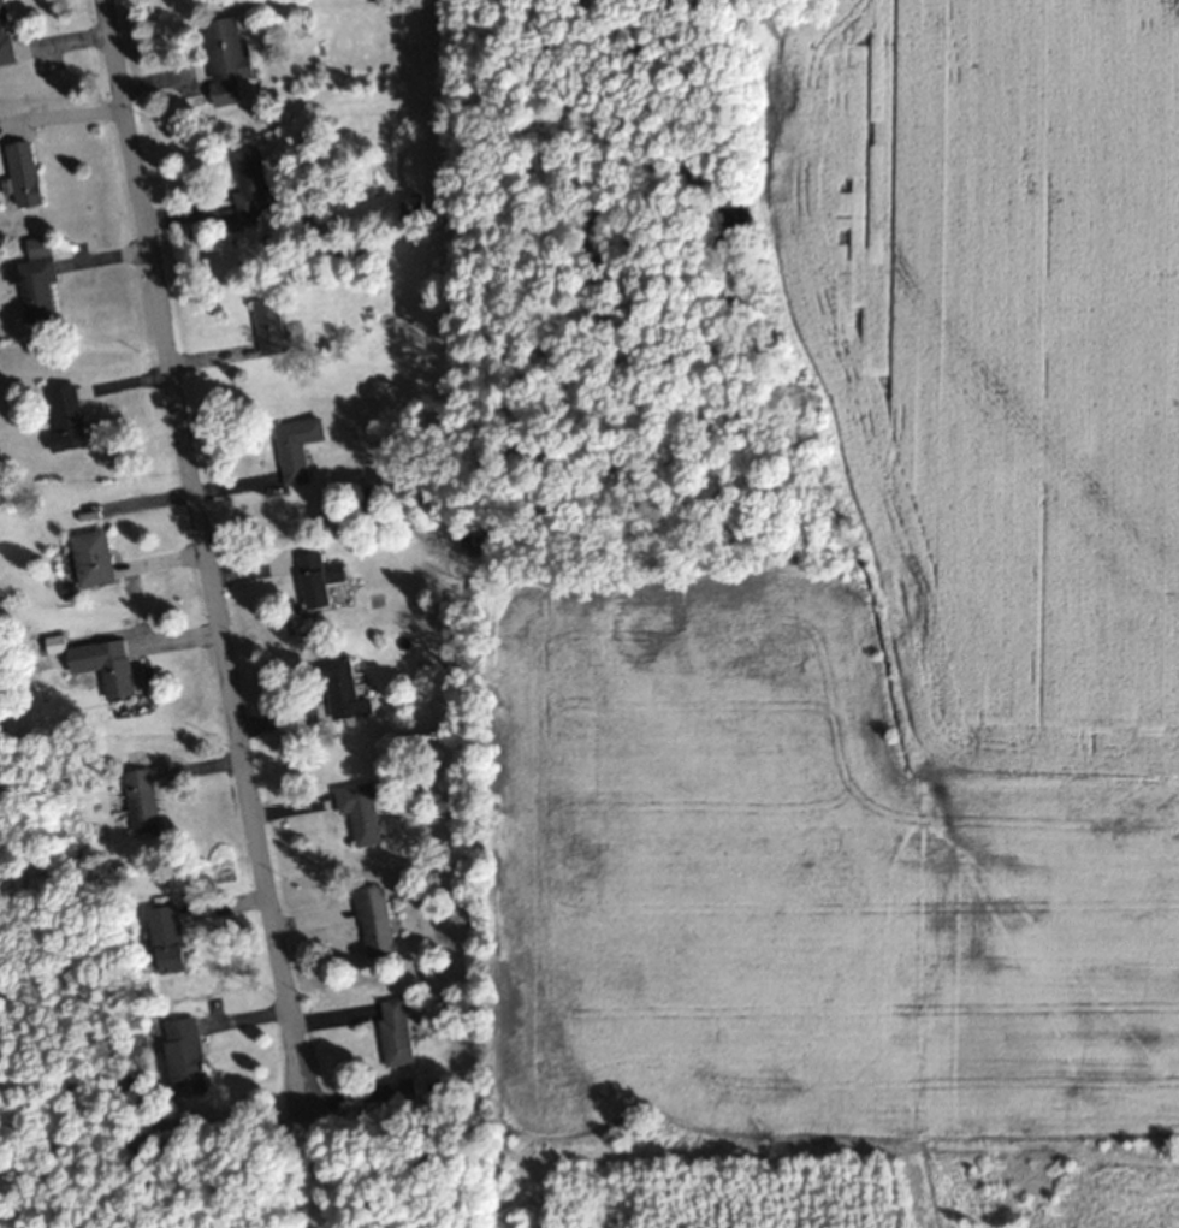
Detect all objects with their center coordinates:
building: (5, 34)
building: (226, 48)
building: (23, 172)
building: (254, 188)
building: (36, 278)
building: (272, 324)
building: (70, 417)
building: (300, 446)
road: (203, 551)
building: (93, 556)
building: (321, 577)
building: (115, 668)
building: (344, 686)
building: (144, 800)
building: (360, 809)
building: (375, 920)
building: (173, 938)
building: (397, 1031)
building: (190, 1056)
building: (405, 1087)
building: (439, 1090)

